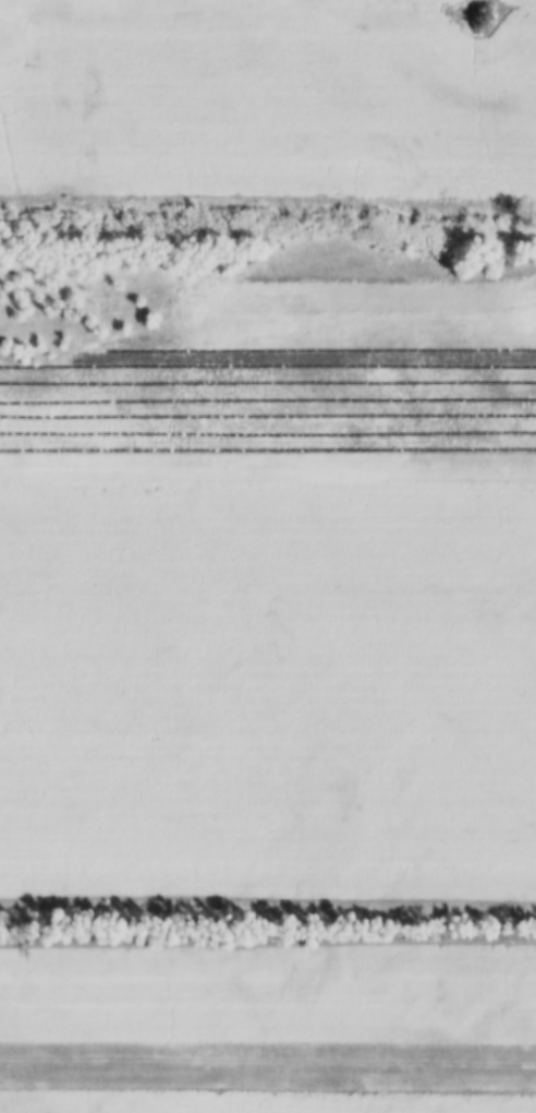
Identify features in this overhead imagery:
road: (268, 1058)

